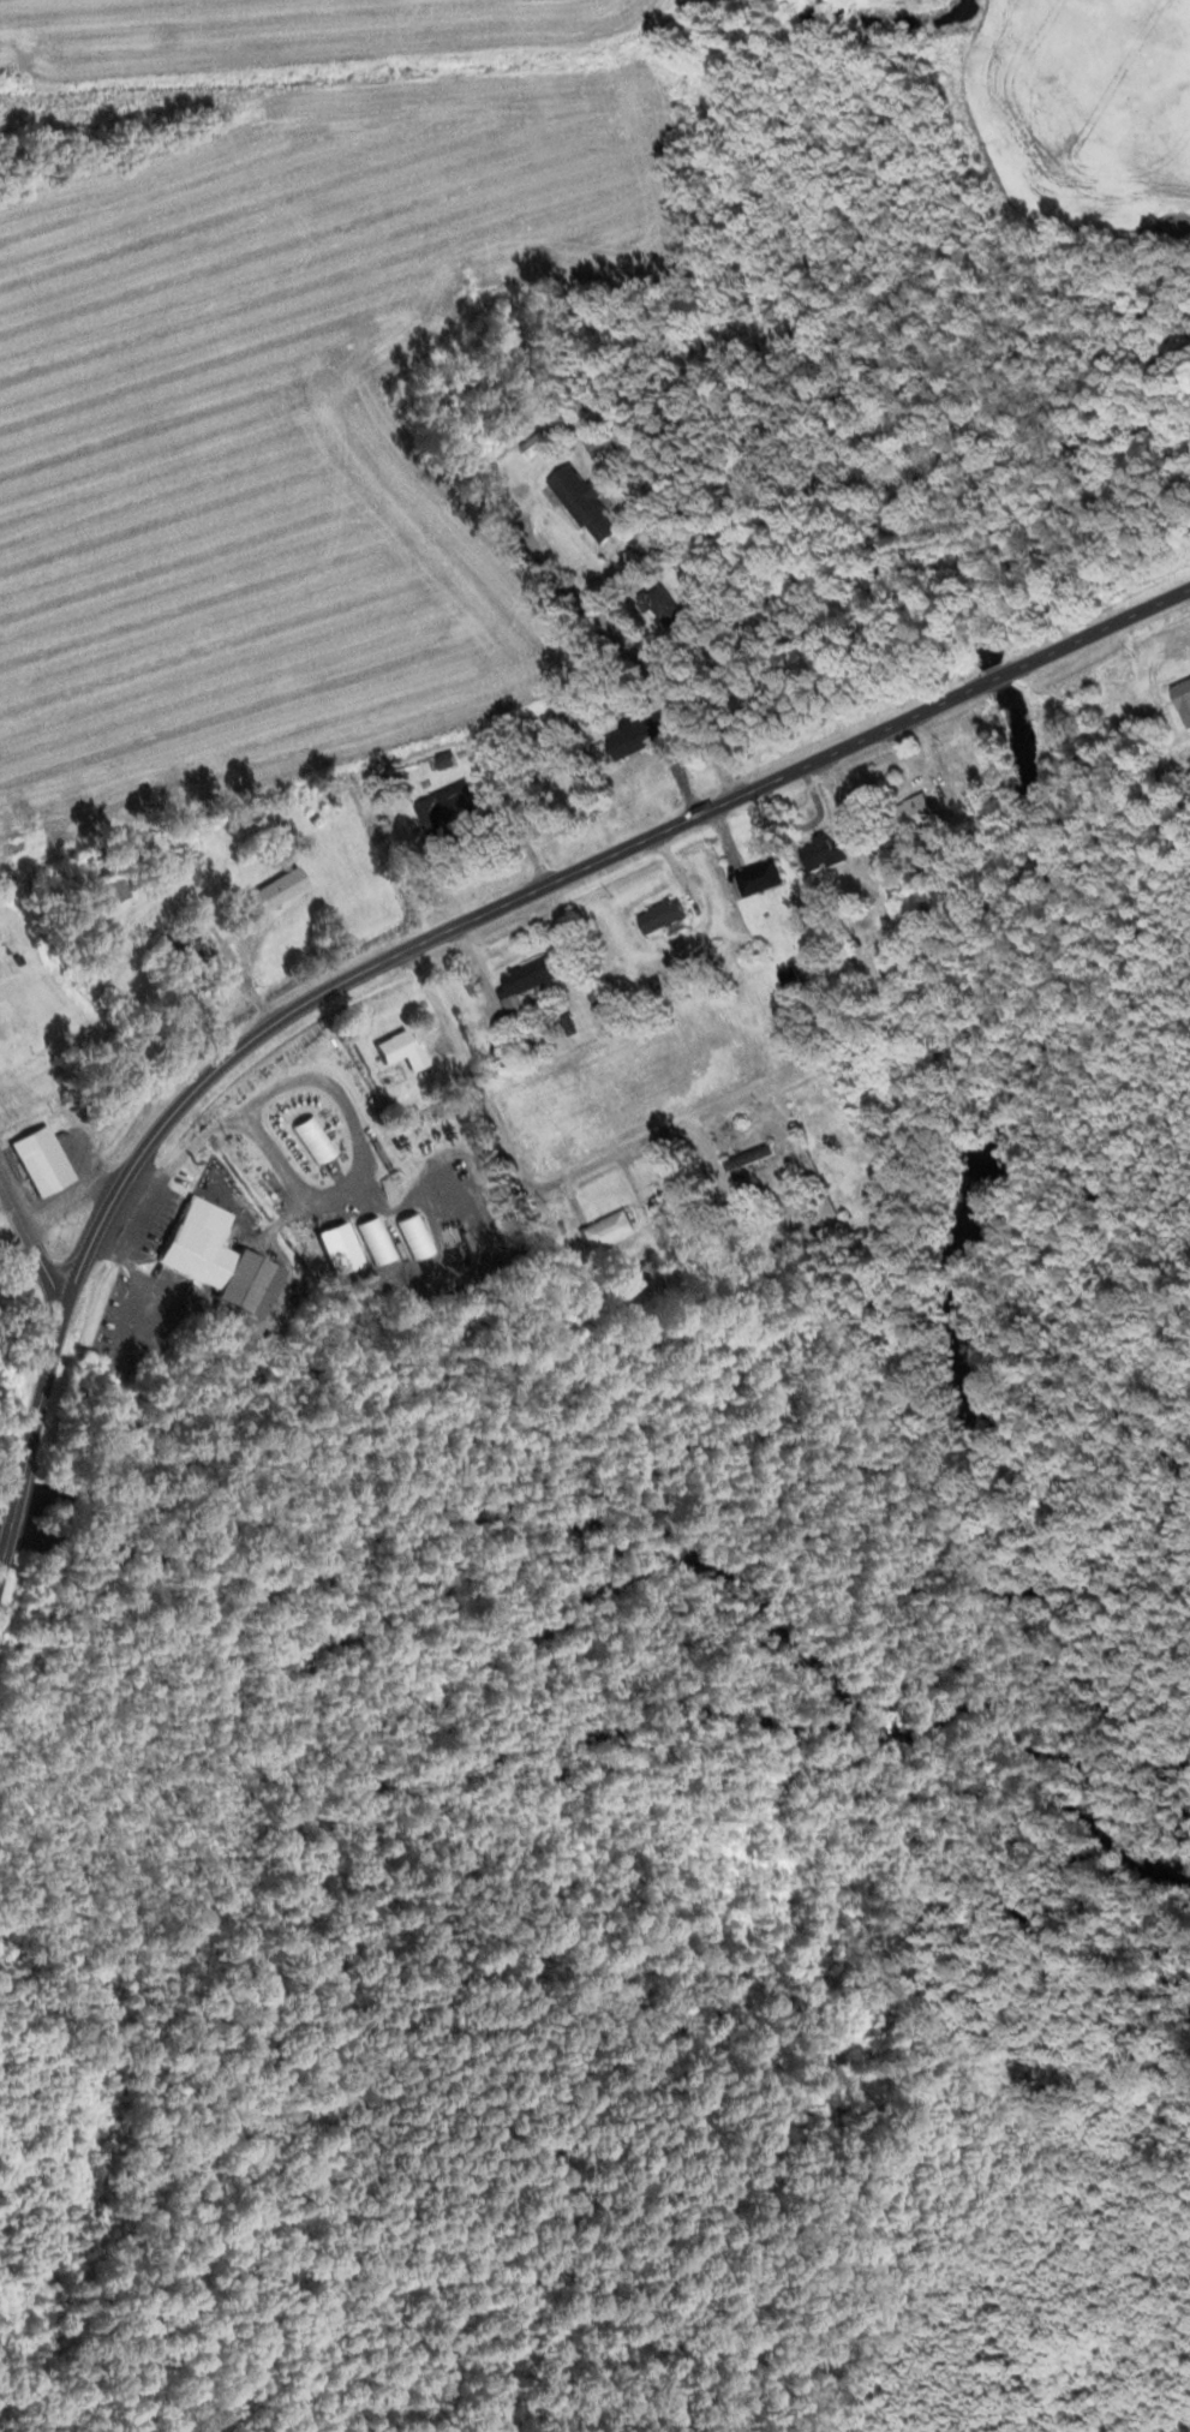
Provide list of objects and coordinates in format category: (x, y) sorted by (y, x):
building: (532, 446)
building: (579, 502)
building: (659, 609)
road: (630, 640)
building: (1180, 700)
building: (638, 735)
building: (443, 759)
building: (445, 805)
building: (909, 813)
building: (817, 854)
road: (567, 877)
building: (276, 890)
building: (107, 892)
road: (823, 909)
building: (659, 916)
building: (186, 949)
building: (788, 978)
building: (521, 984)
building: (399, 1050)
road: (720, 1103)
road: (500, 1127)
building: (826, 1129)
building: (41, 1160)
building: (747, 1160)
building: (603, 1230)
road: (32, 1244)
building: (209, 1257)
building: (647, 1278)
road: (40, 1411)
road: (6, 1543)
park: (34, 2404)

